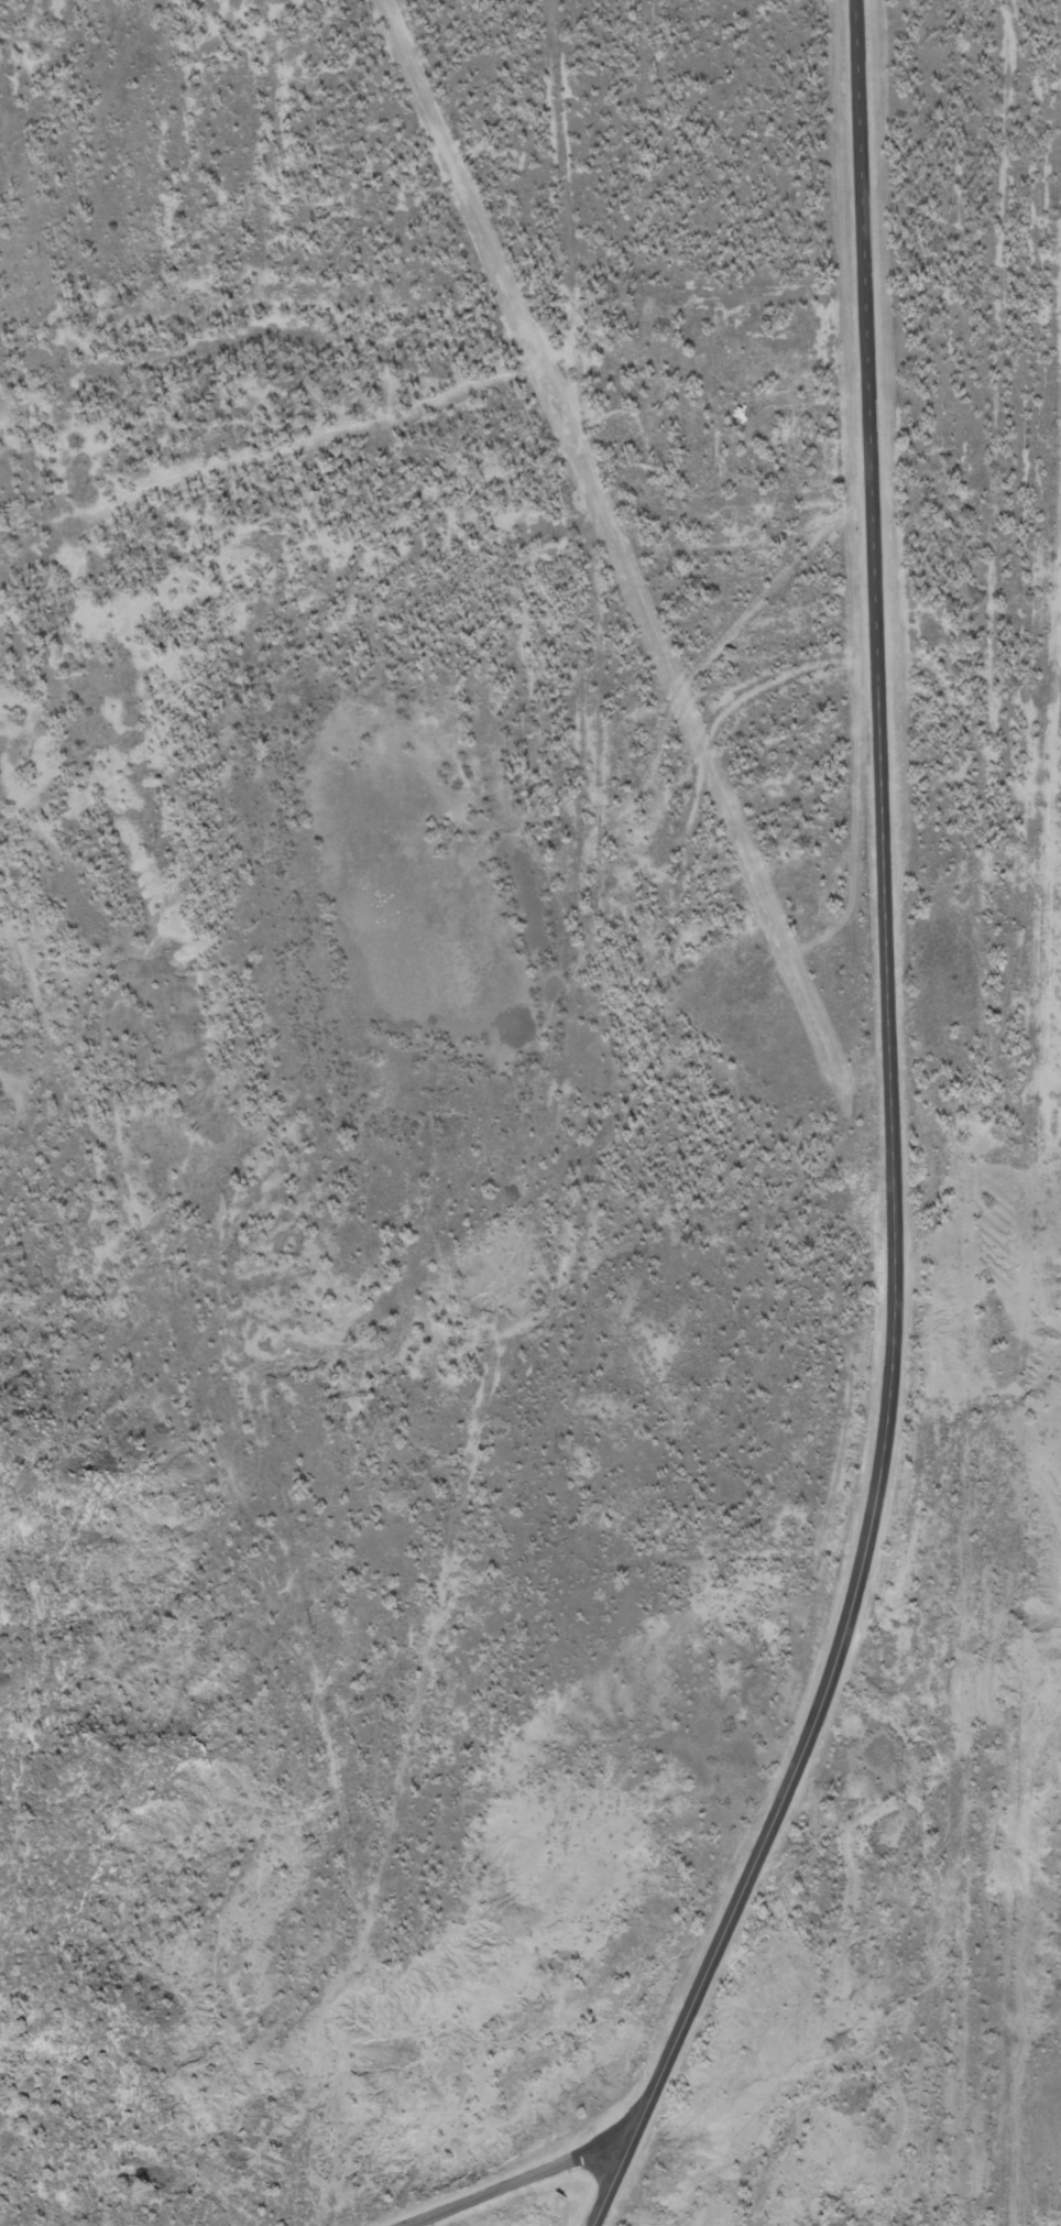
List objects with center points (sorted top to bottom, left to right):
road: (886, 1141)
road: (516, 2179)

